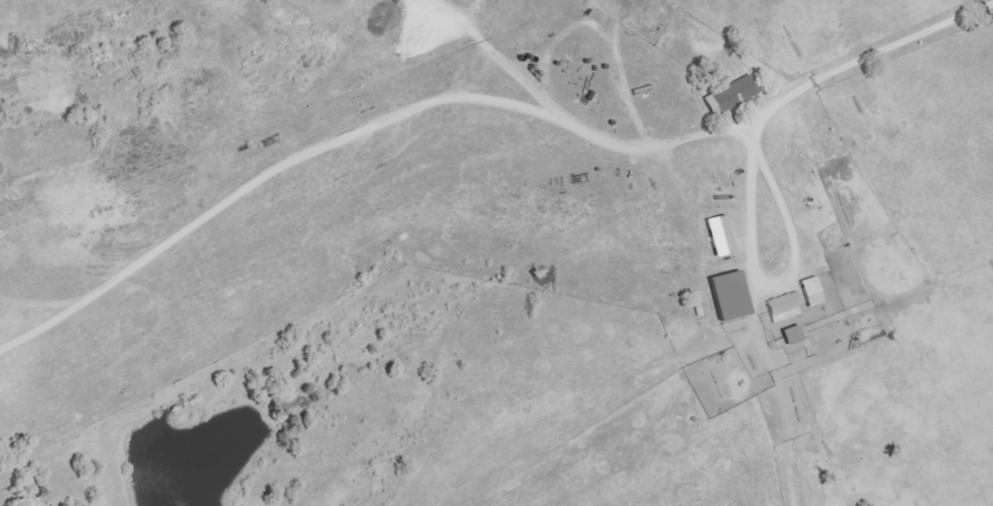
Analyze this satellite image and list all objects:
building: (729, 95)
road: (696, 137)
road: (265, 176)
building: (718, 235)
road: (764, 280)
building: (811, 292)
building: (727, 296)
building: (783, 307)
building: (791, 335)

